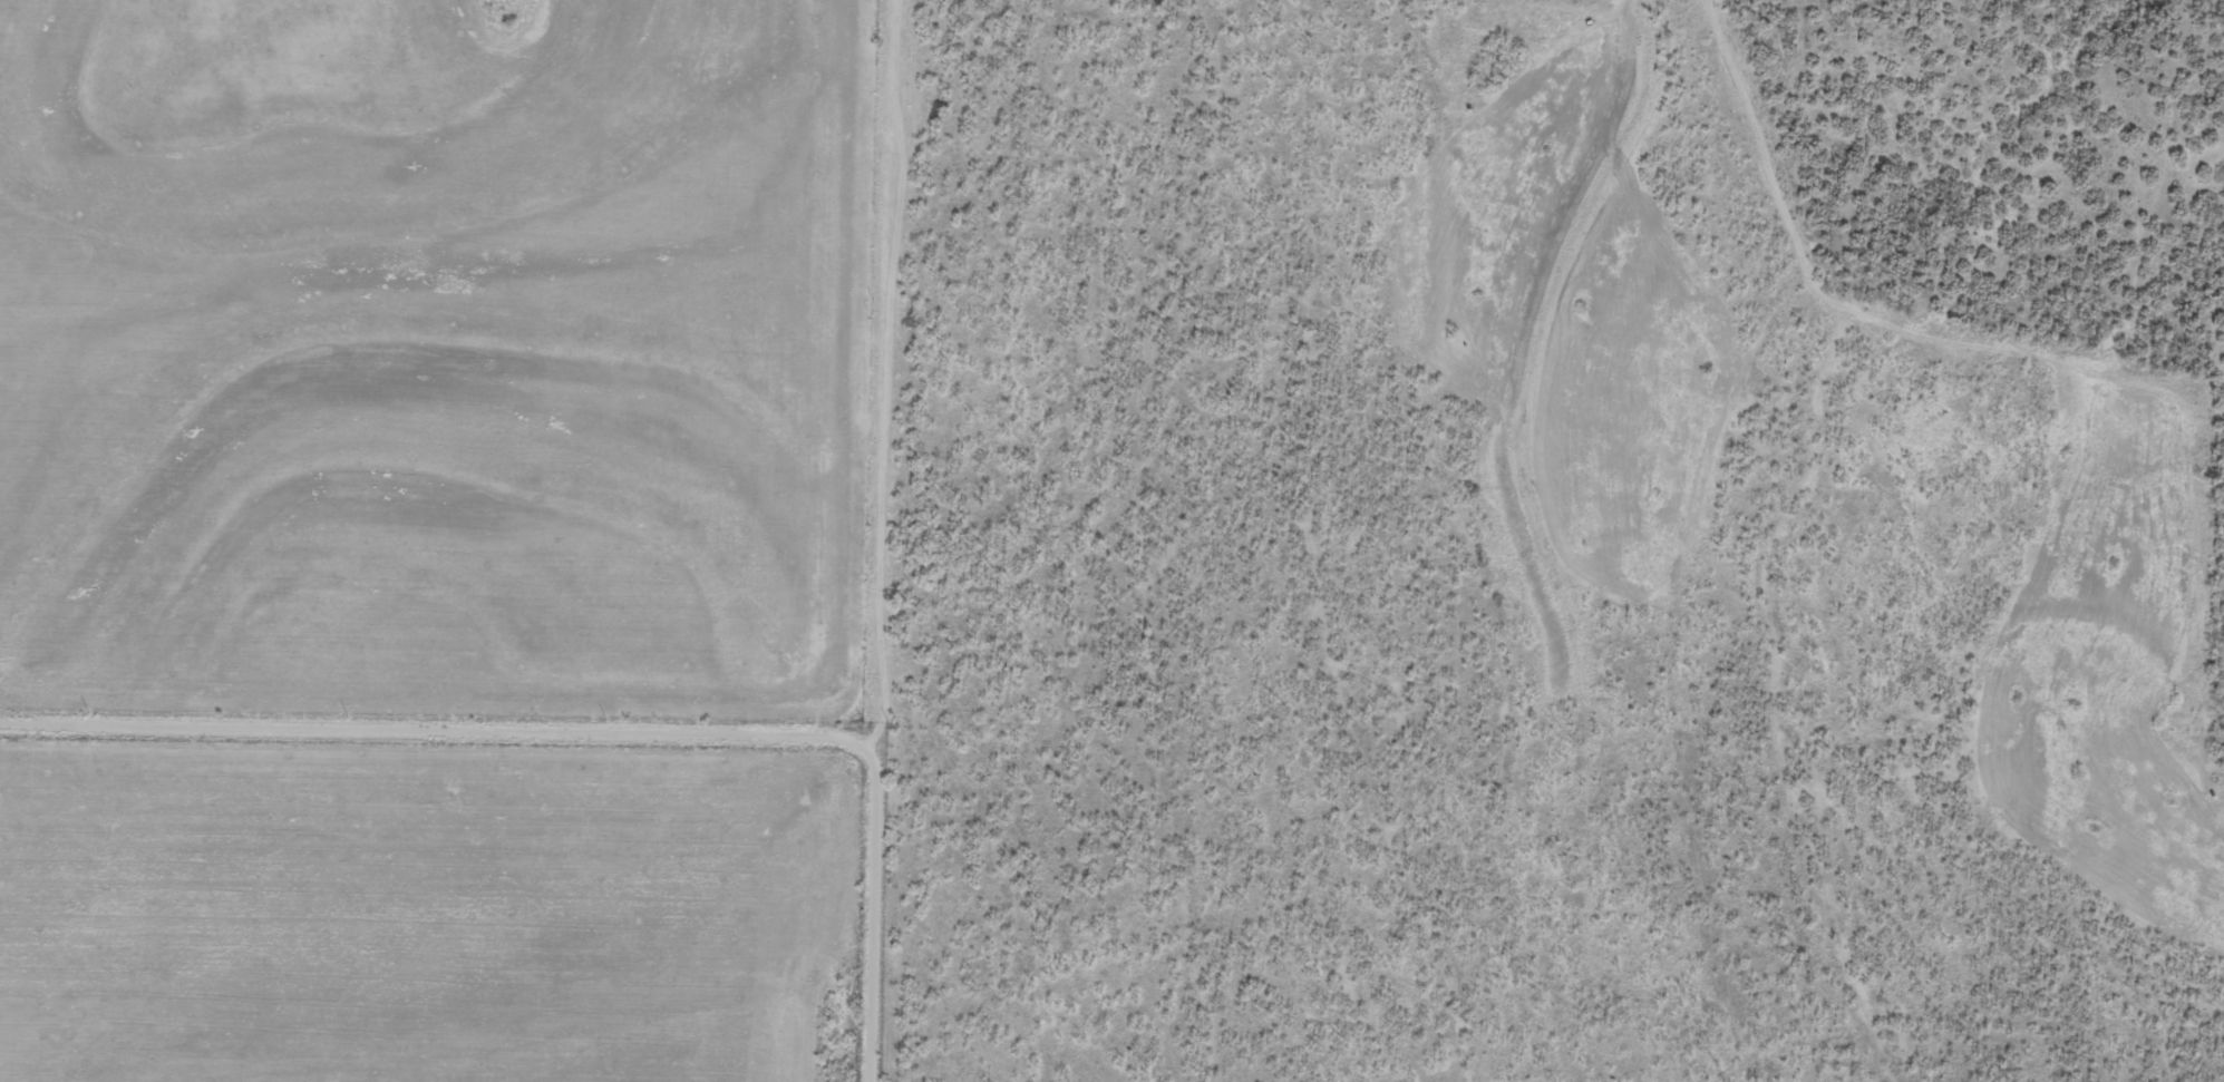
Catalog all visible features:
road: (604, 727)

